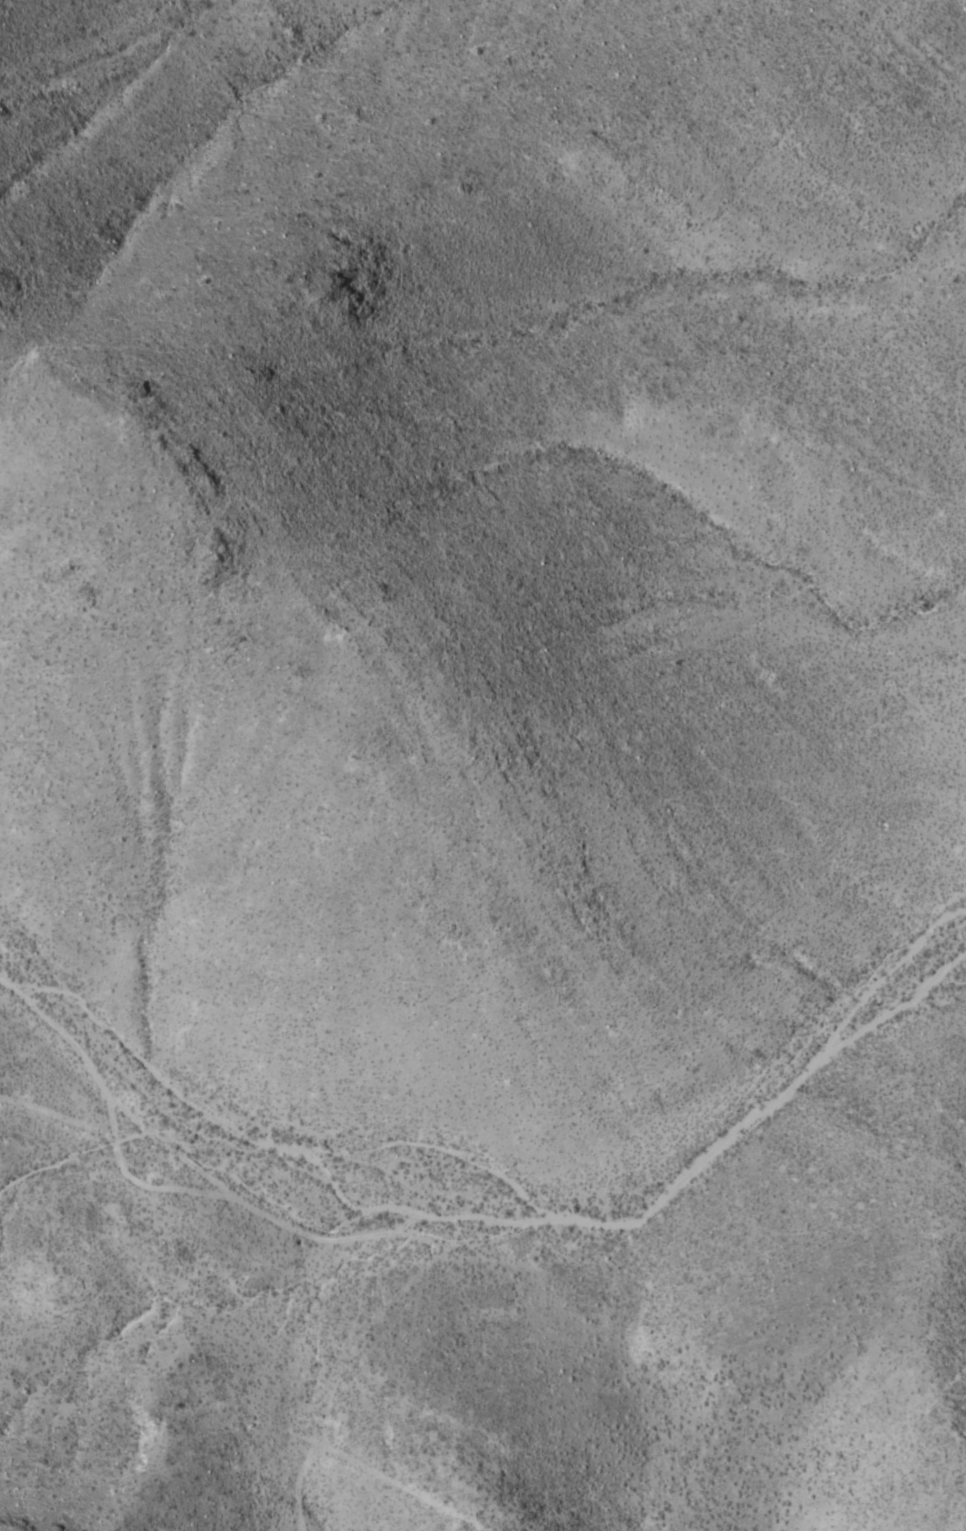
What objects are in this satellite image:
road: (58, 1115)
road: (464, 1216)
road: (359, 1464)

